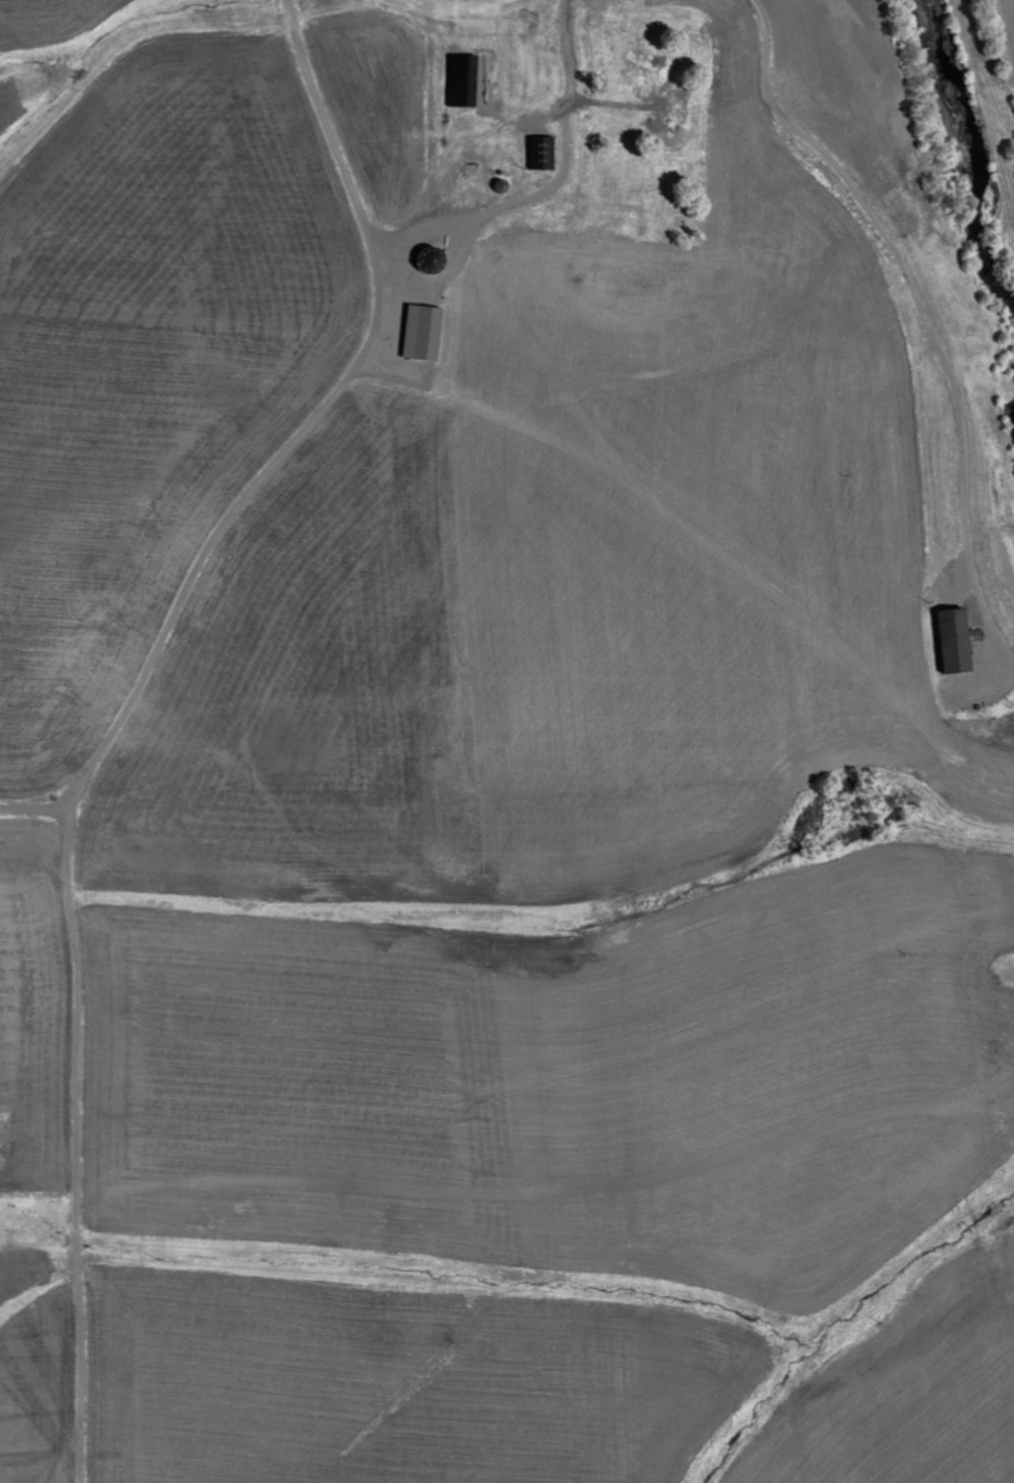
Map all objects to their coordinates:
building: (650, 68)
building: (542, 154)
road: (336, 158)
road: (920, 312)
building: (422, 333)
road: (310, 421)
building: (955, 640)
road: (76, 1138)

